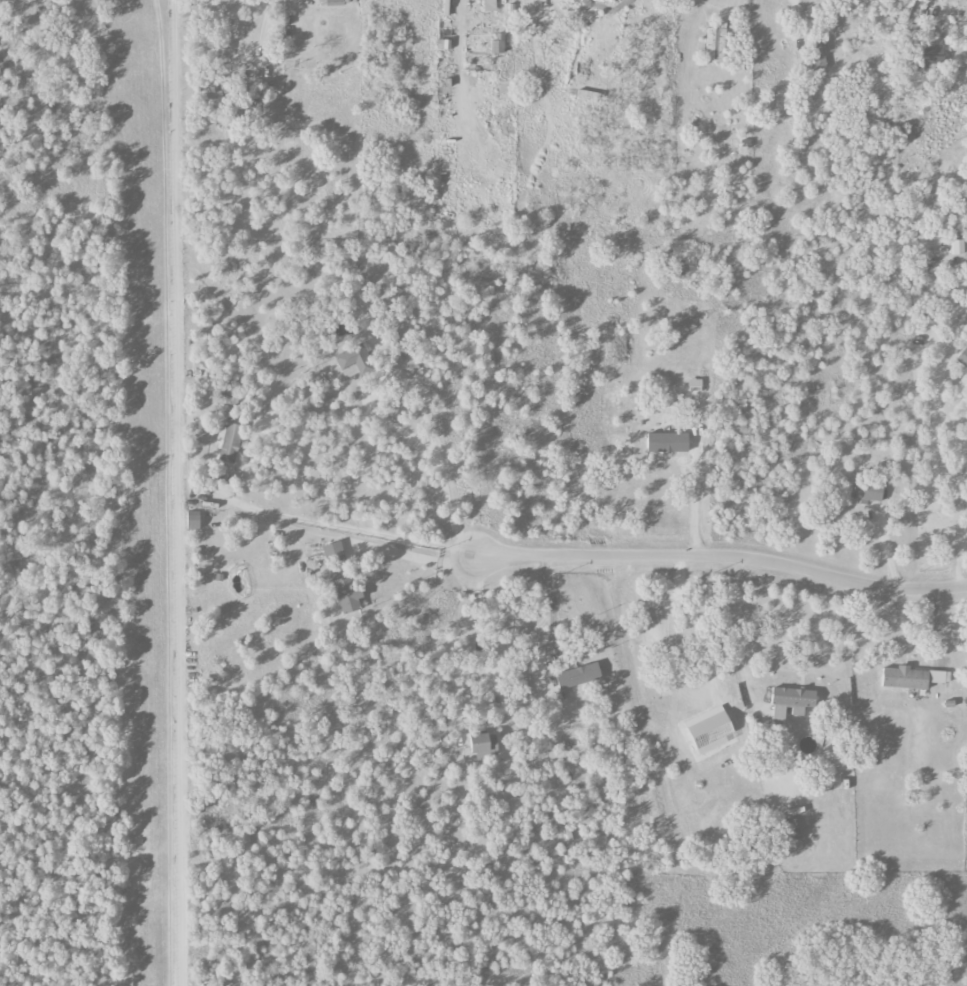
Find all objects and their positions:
building: (334, 2)
building: (489, 5)
road: (724, 6)
road: (505, 8)
road: (795, 22)
building: (498, 43)
building: (715, 43)
building: (442, 44)
building: (821, 47)
building: (929, 55)
building: (226, 90)
building: (212, 98)
building: (957, 247)
building: (962, 357)
building: (354, 358)
road: (419, 412)
road: (934, 416)
building: (228, 441)
building: (667, 443)
building: (867, 491)
road: (695, 503)
building: (193, 520)
road: (338, 524)
building: (333, 552)
road: (722, 556)
road: (953, 559)
road: (416, 560)
building: (346, 594)
road: (740, 631)
road: (492, 647)
road: (836, 669)
building: (578, 676)
building: (912, 678)
building: (791, 703)
building: (483, 744)
building: (791, 830)

